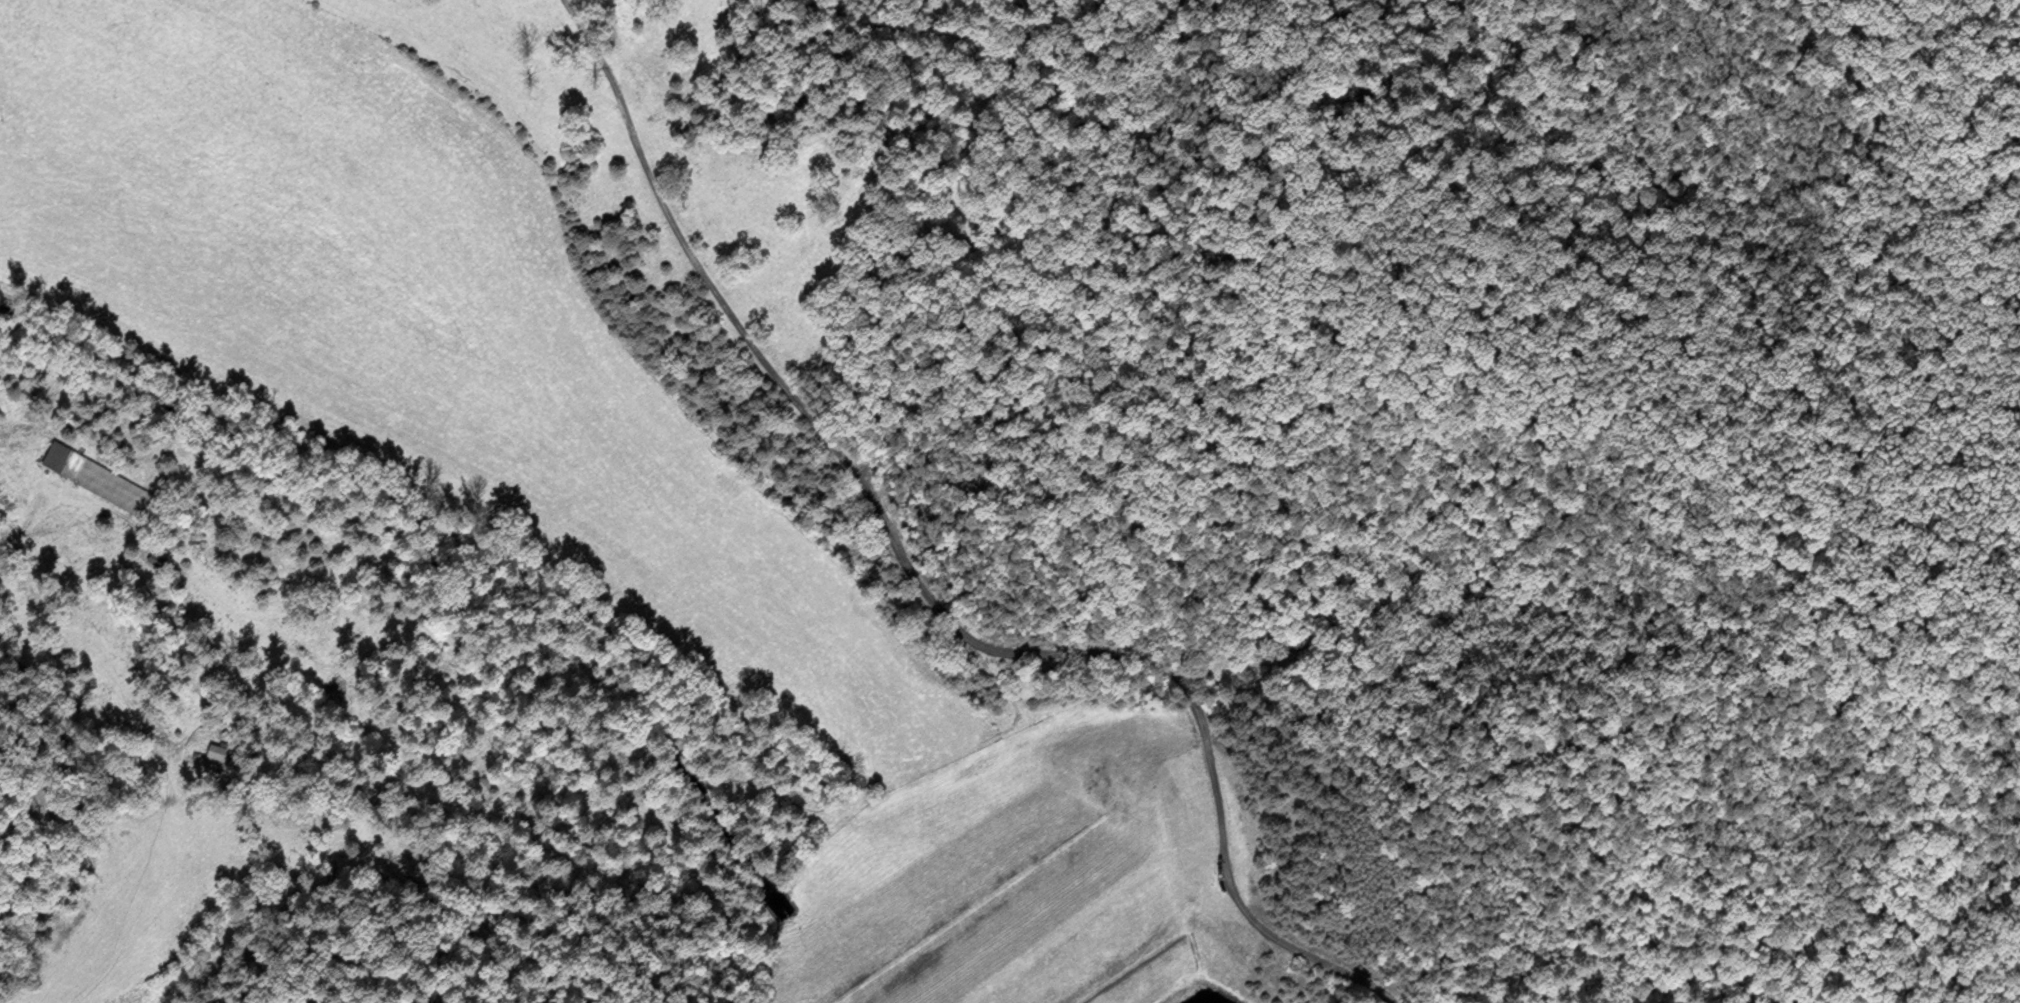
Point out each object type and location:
building: (102, 482)
road: (927, 597)
building: (217, 753)
dam: (1070, 929)

